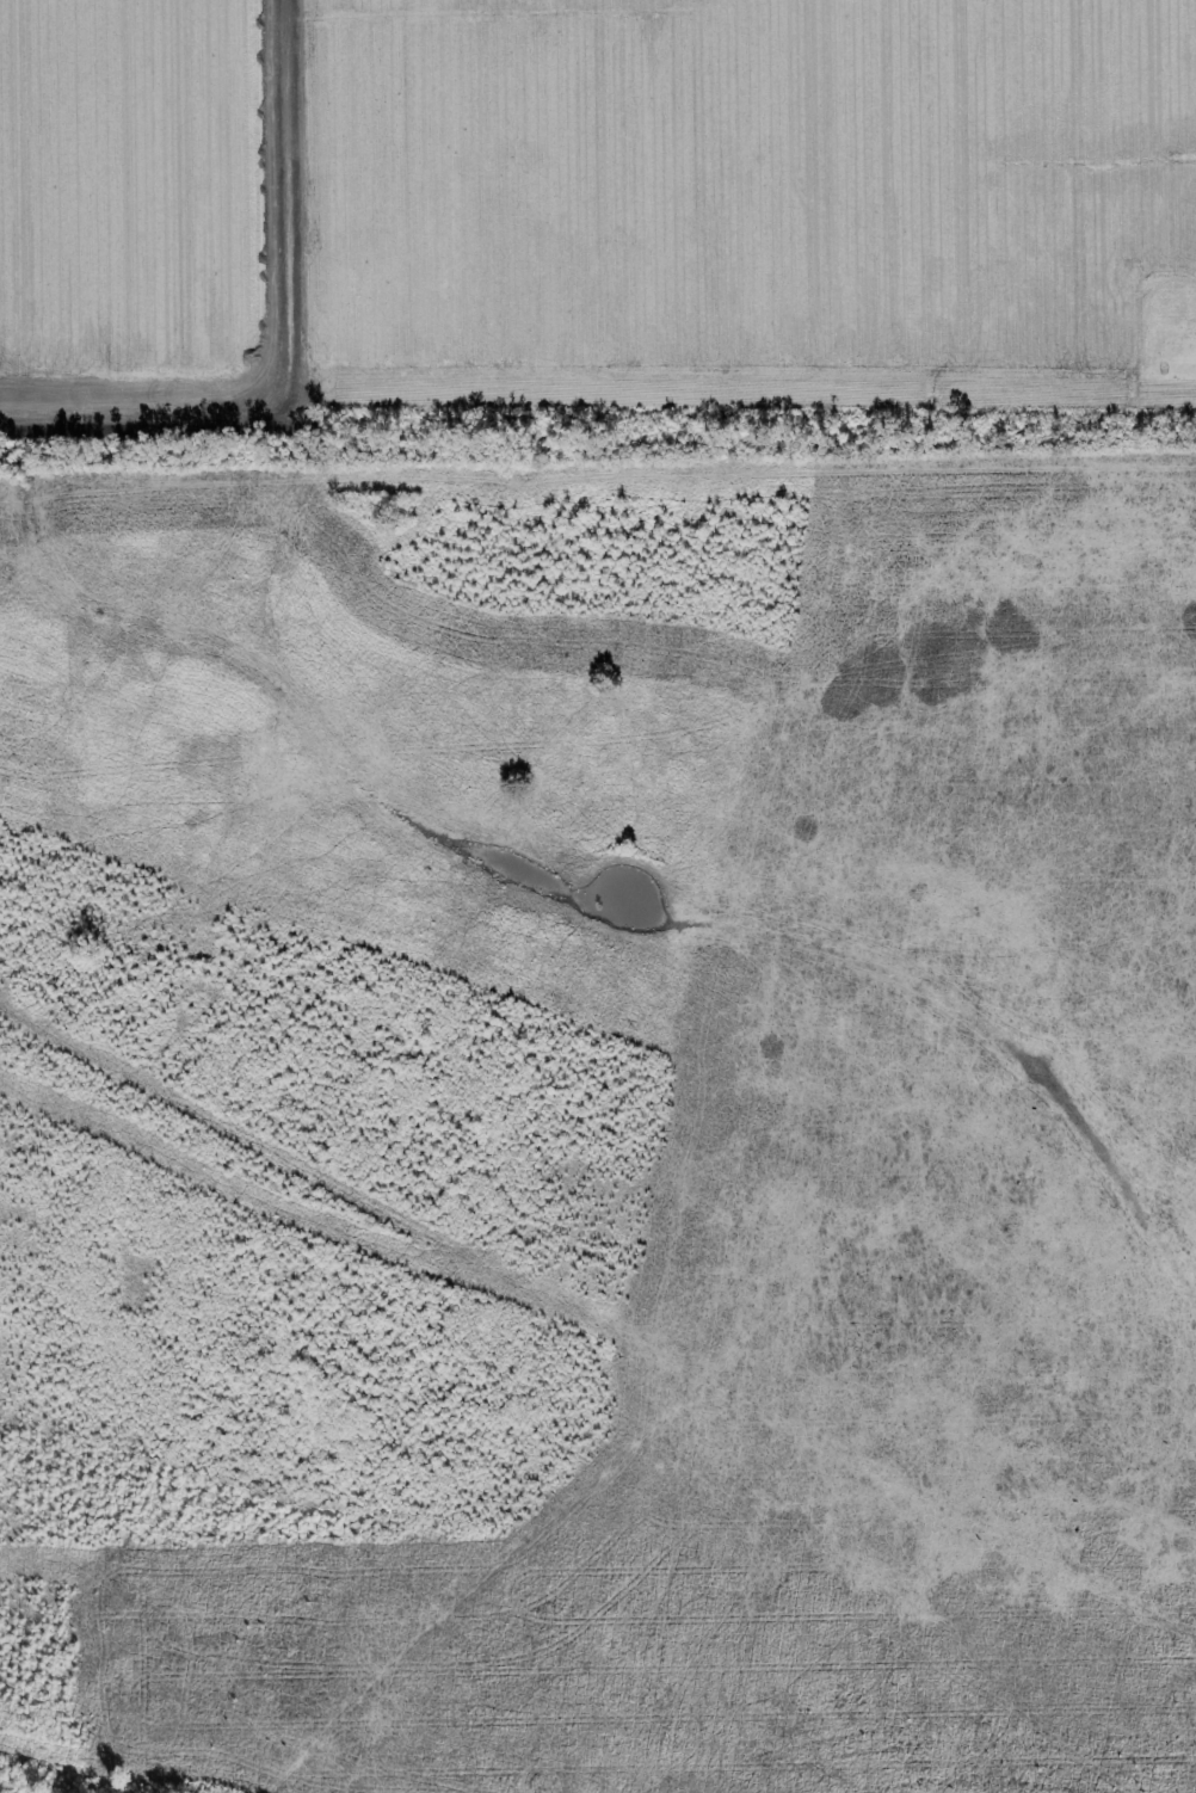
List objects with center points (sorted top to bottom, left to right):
road: (598, 440)

